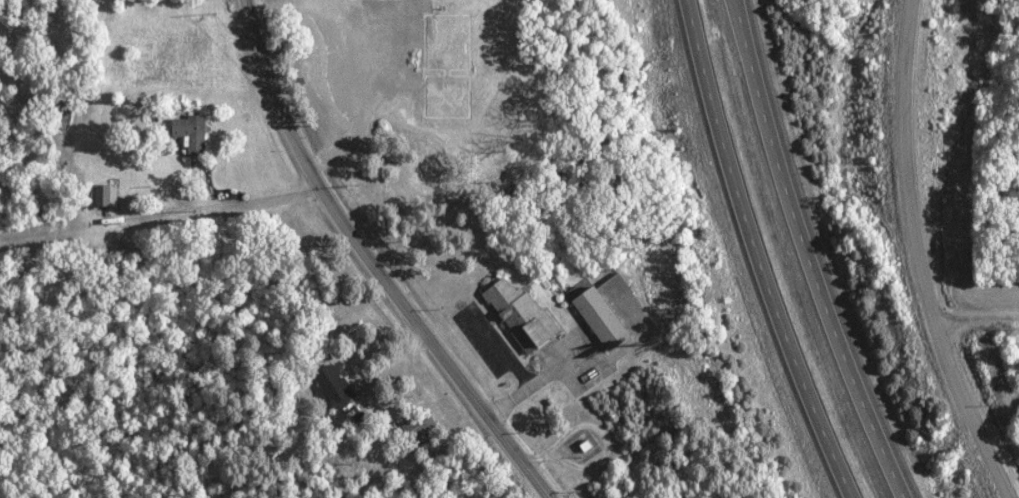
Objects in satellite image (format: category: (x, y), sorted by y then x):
building: (185, 131)
building: (100, 194)
road: (754, 253)
road: (807, 253)
road: (908, 258)
road: (372, 263)
building: (514, 313)
building: (594, 316)
road: (973, 323)
building: (327, 385)
building: (414, 424)
building: (581, 445)

